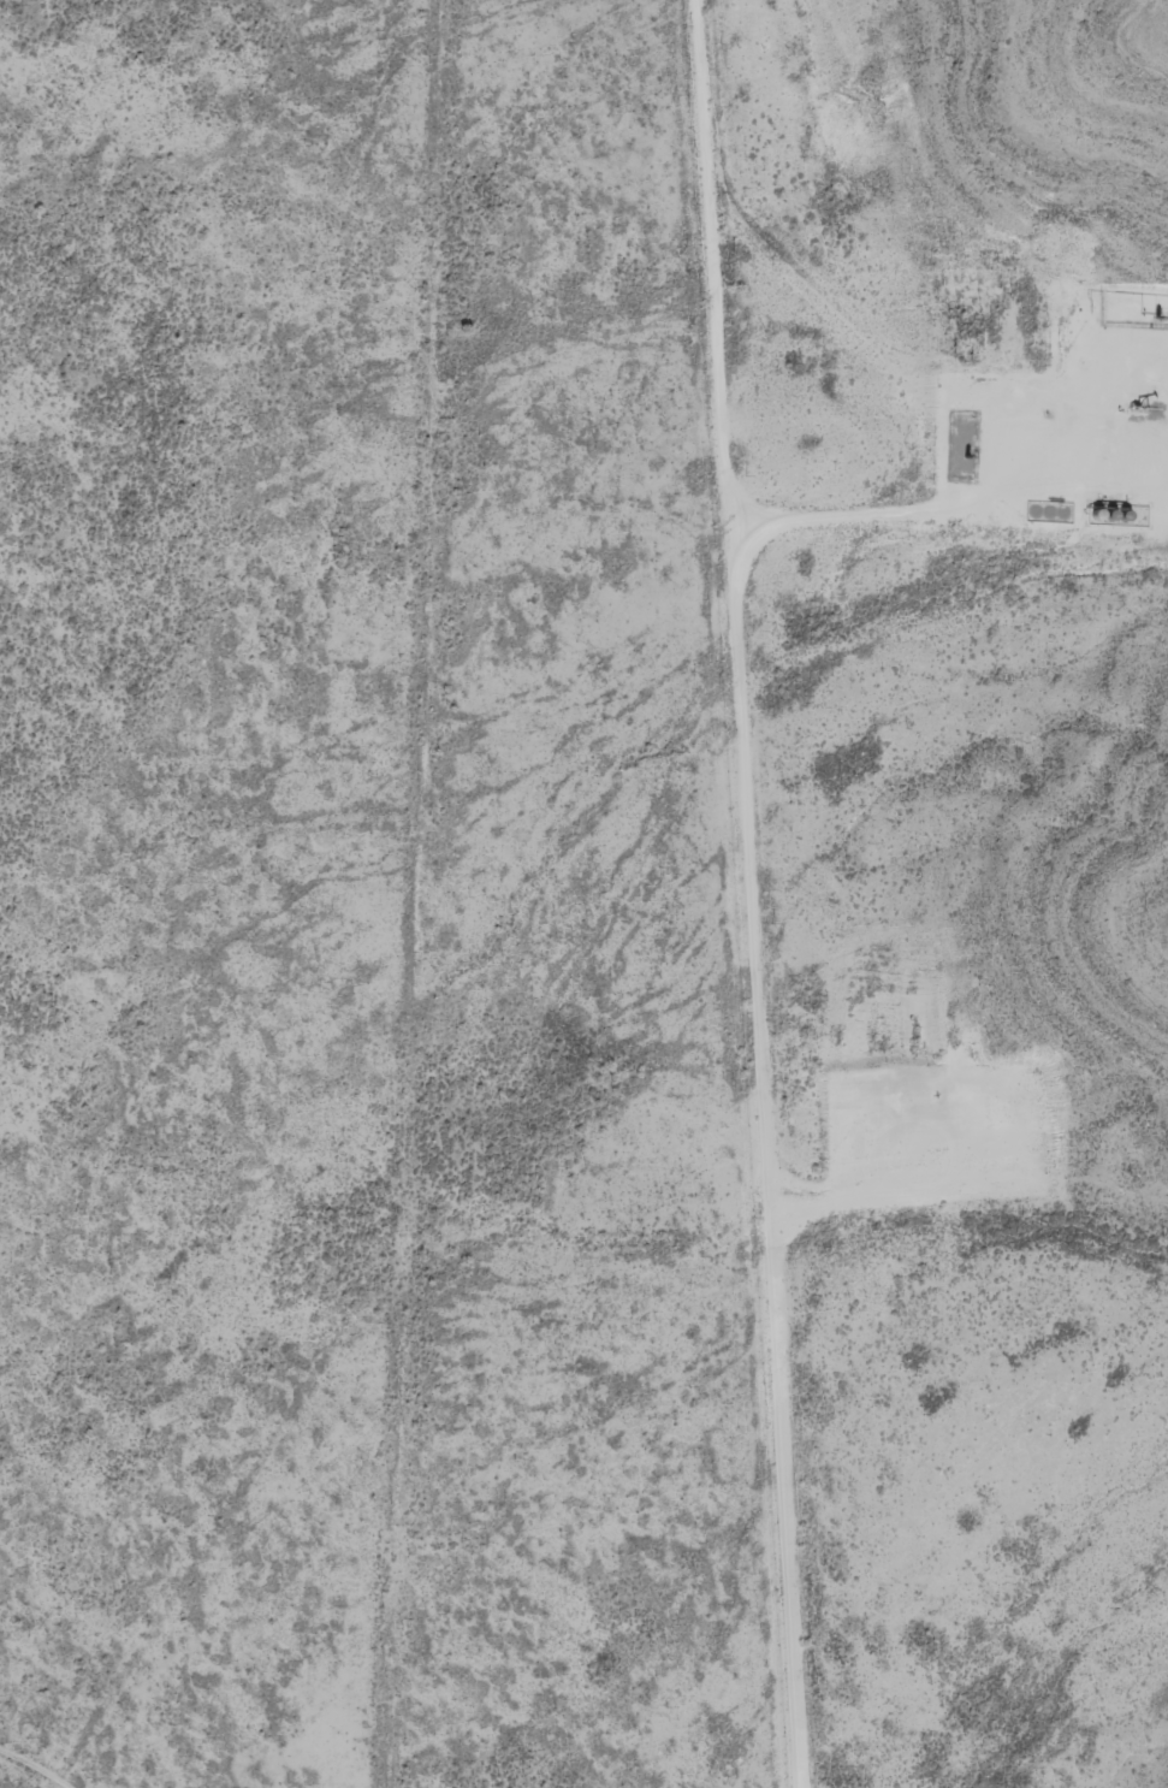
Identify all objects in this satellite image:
road: (704, 261)
road: (1047, 389)
road: (847, 513)
road: (760, 1154)
road: (907, 1162)

